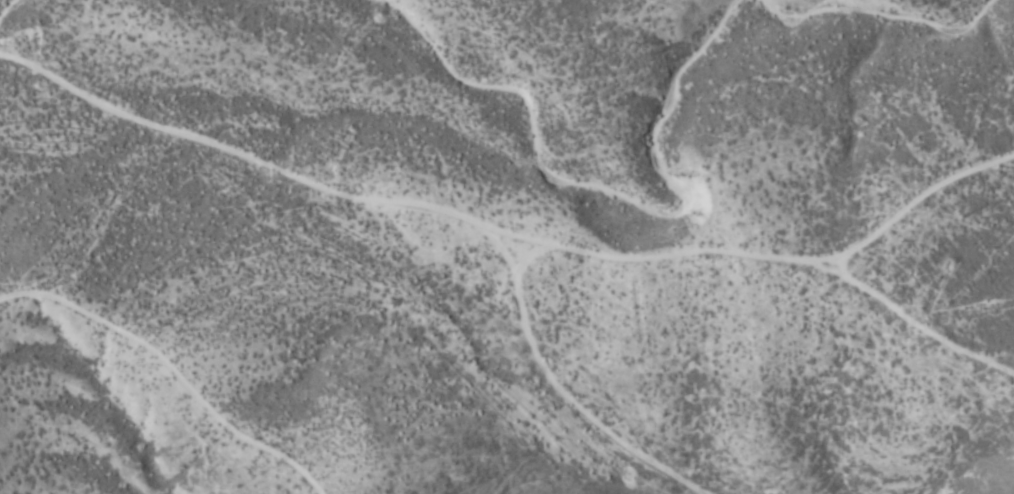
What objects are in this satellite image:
road: (621, 255)

